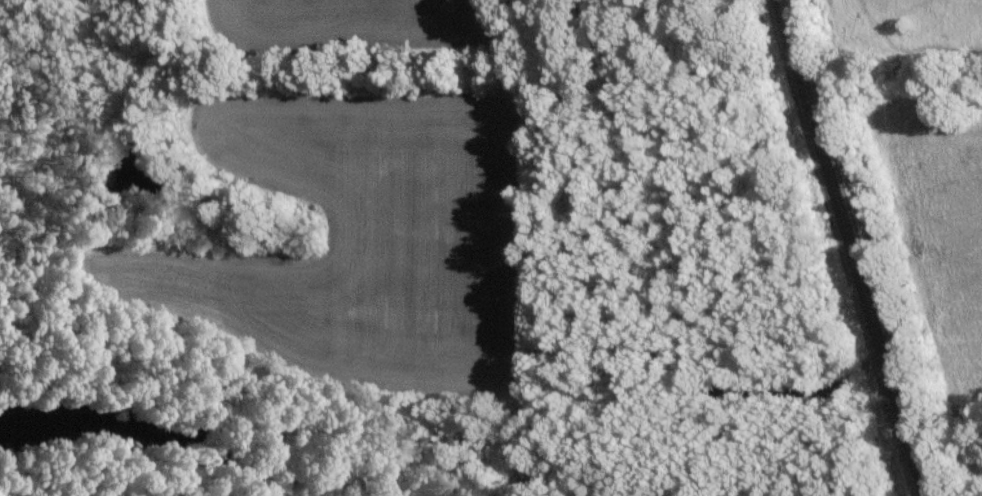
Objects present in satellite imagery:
railway: (864, 247)
railway: (846, 248)

